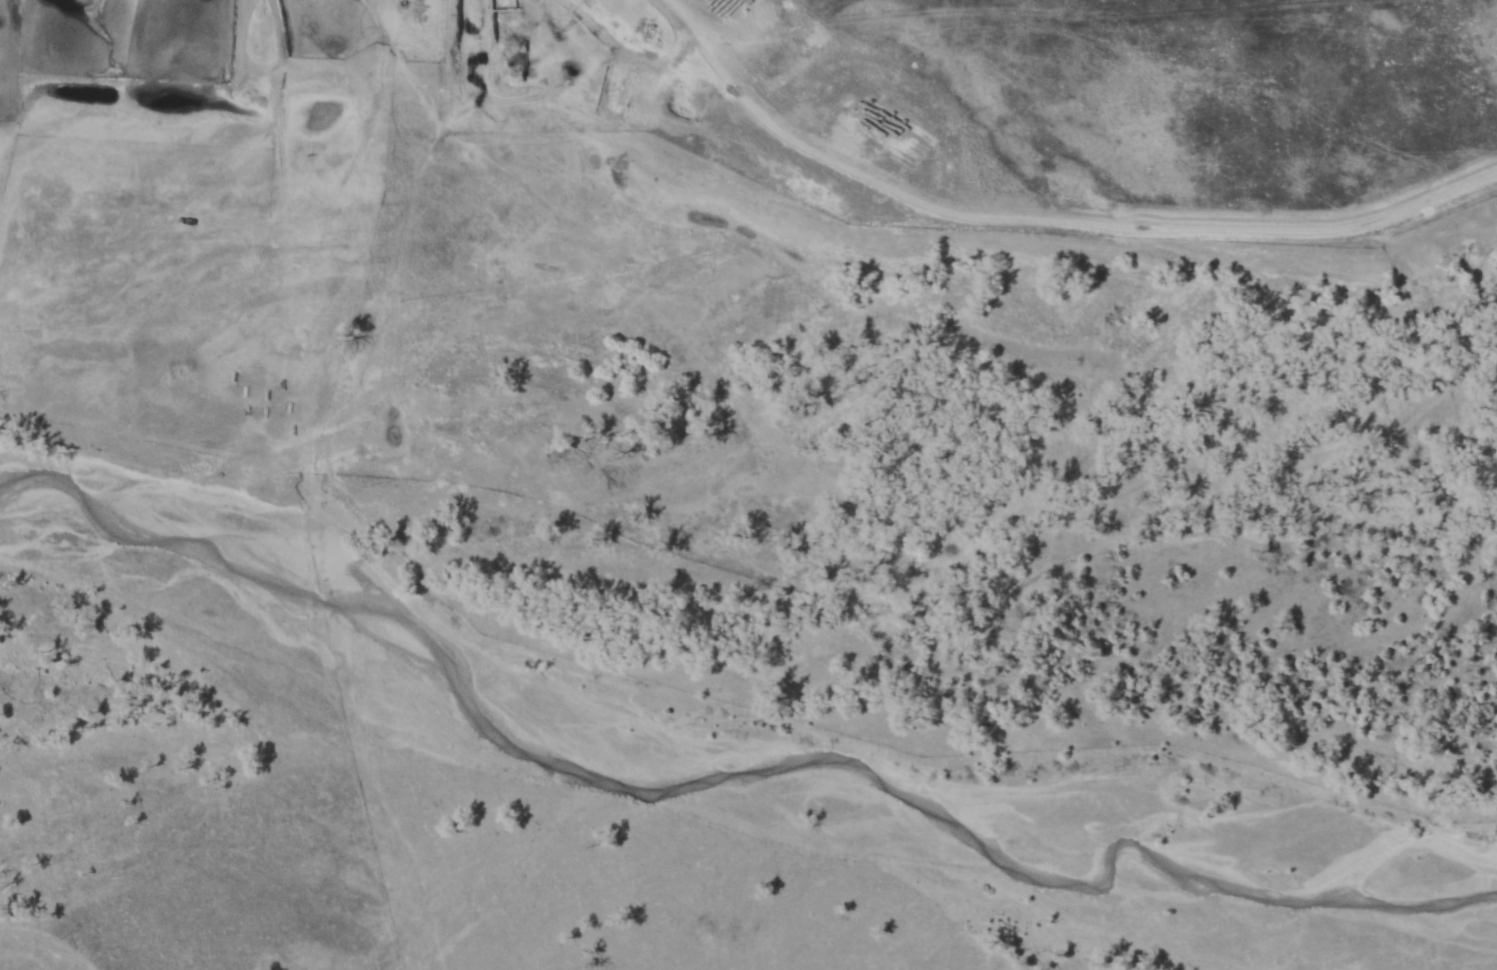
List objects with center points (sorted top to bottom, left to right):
river: (719, 778)

